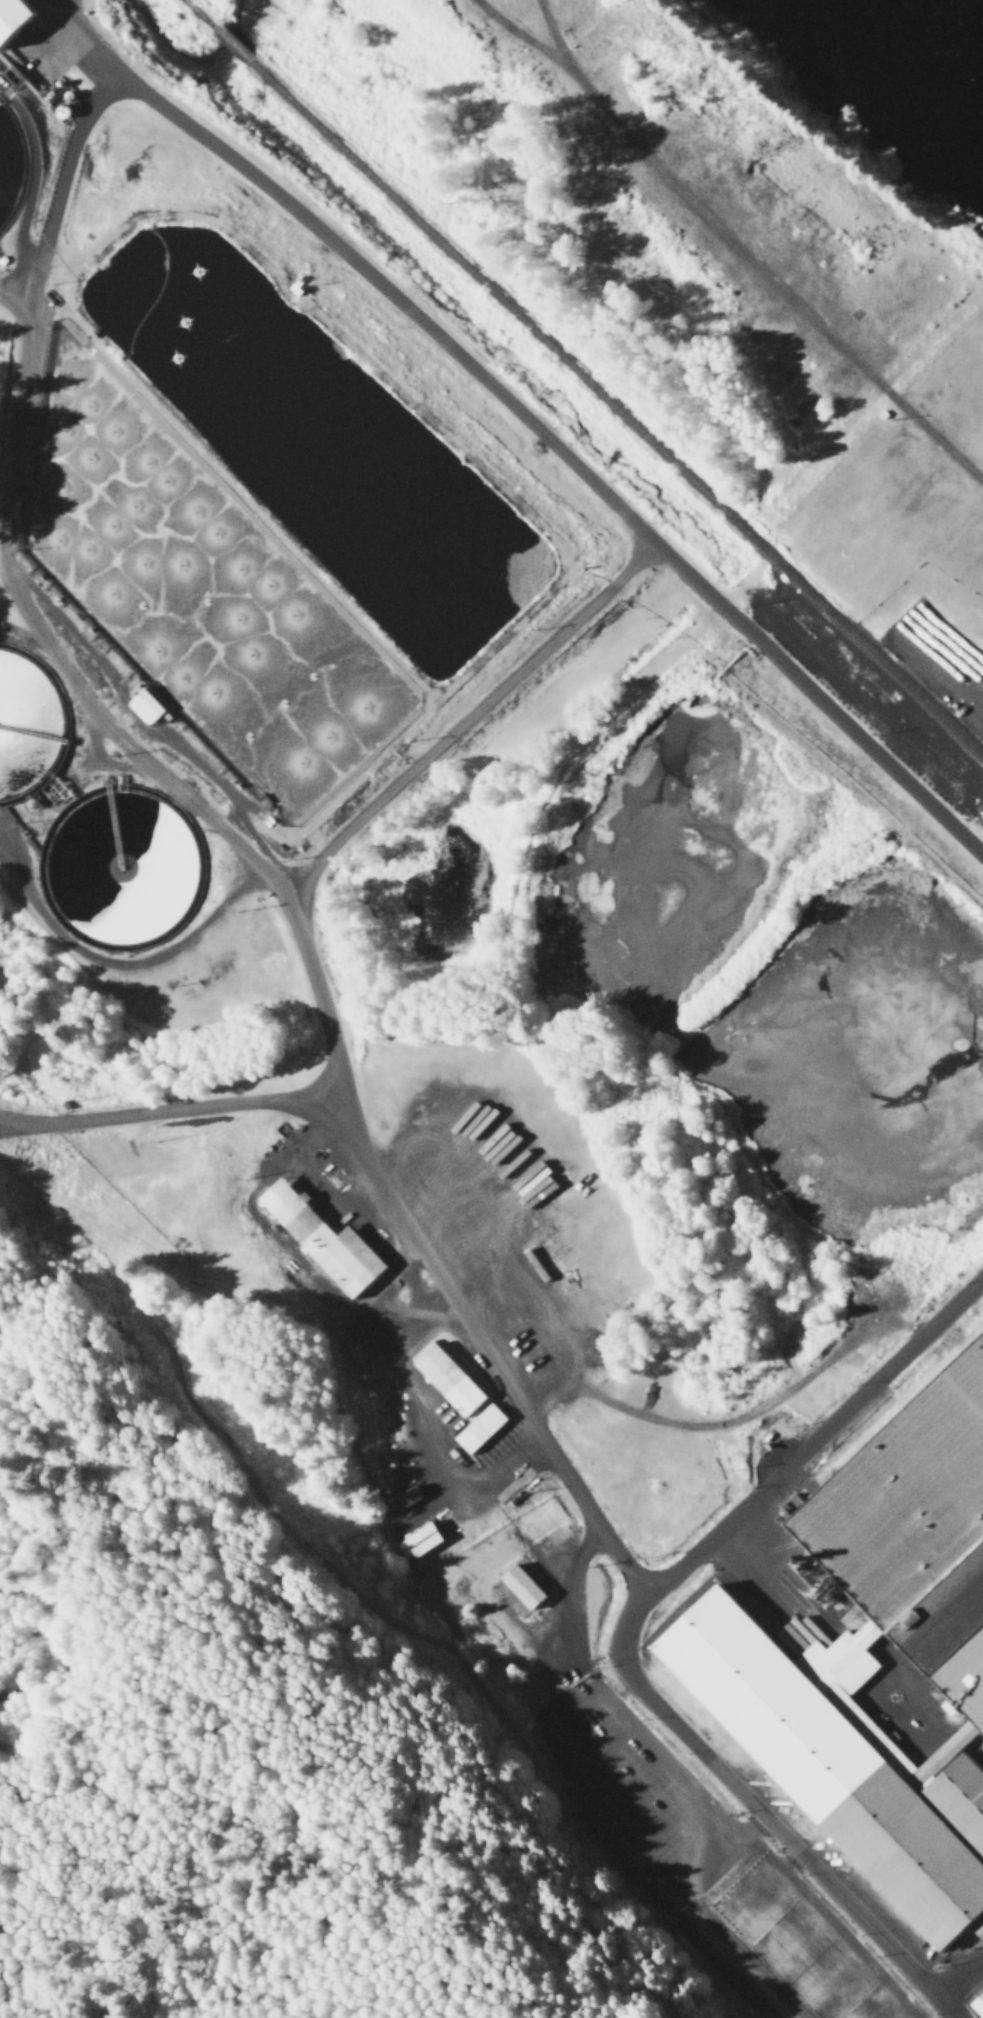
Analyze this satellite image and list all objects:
railway: (198, 15)
building: (17, 21)
railway: (232, 47)
building: (806, 405)
railway: (615, 414)
building: (151, 707)
building: (13, 781)
building: (131, 803)
building: (329, 1245)
building: (582, 1332)
building: (974, 1366)
building: (463, 1398)
building: (849, 1512)
building: (425, 1542)
building: (523, 1589)
road: (615, 1637)
building: (845, 1761)
road: (960, 1986)
building: (978, 2007)

